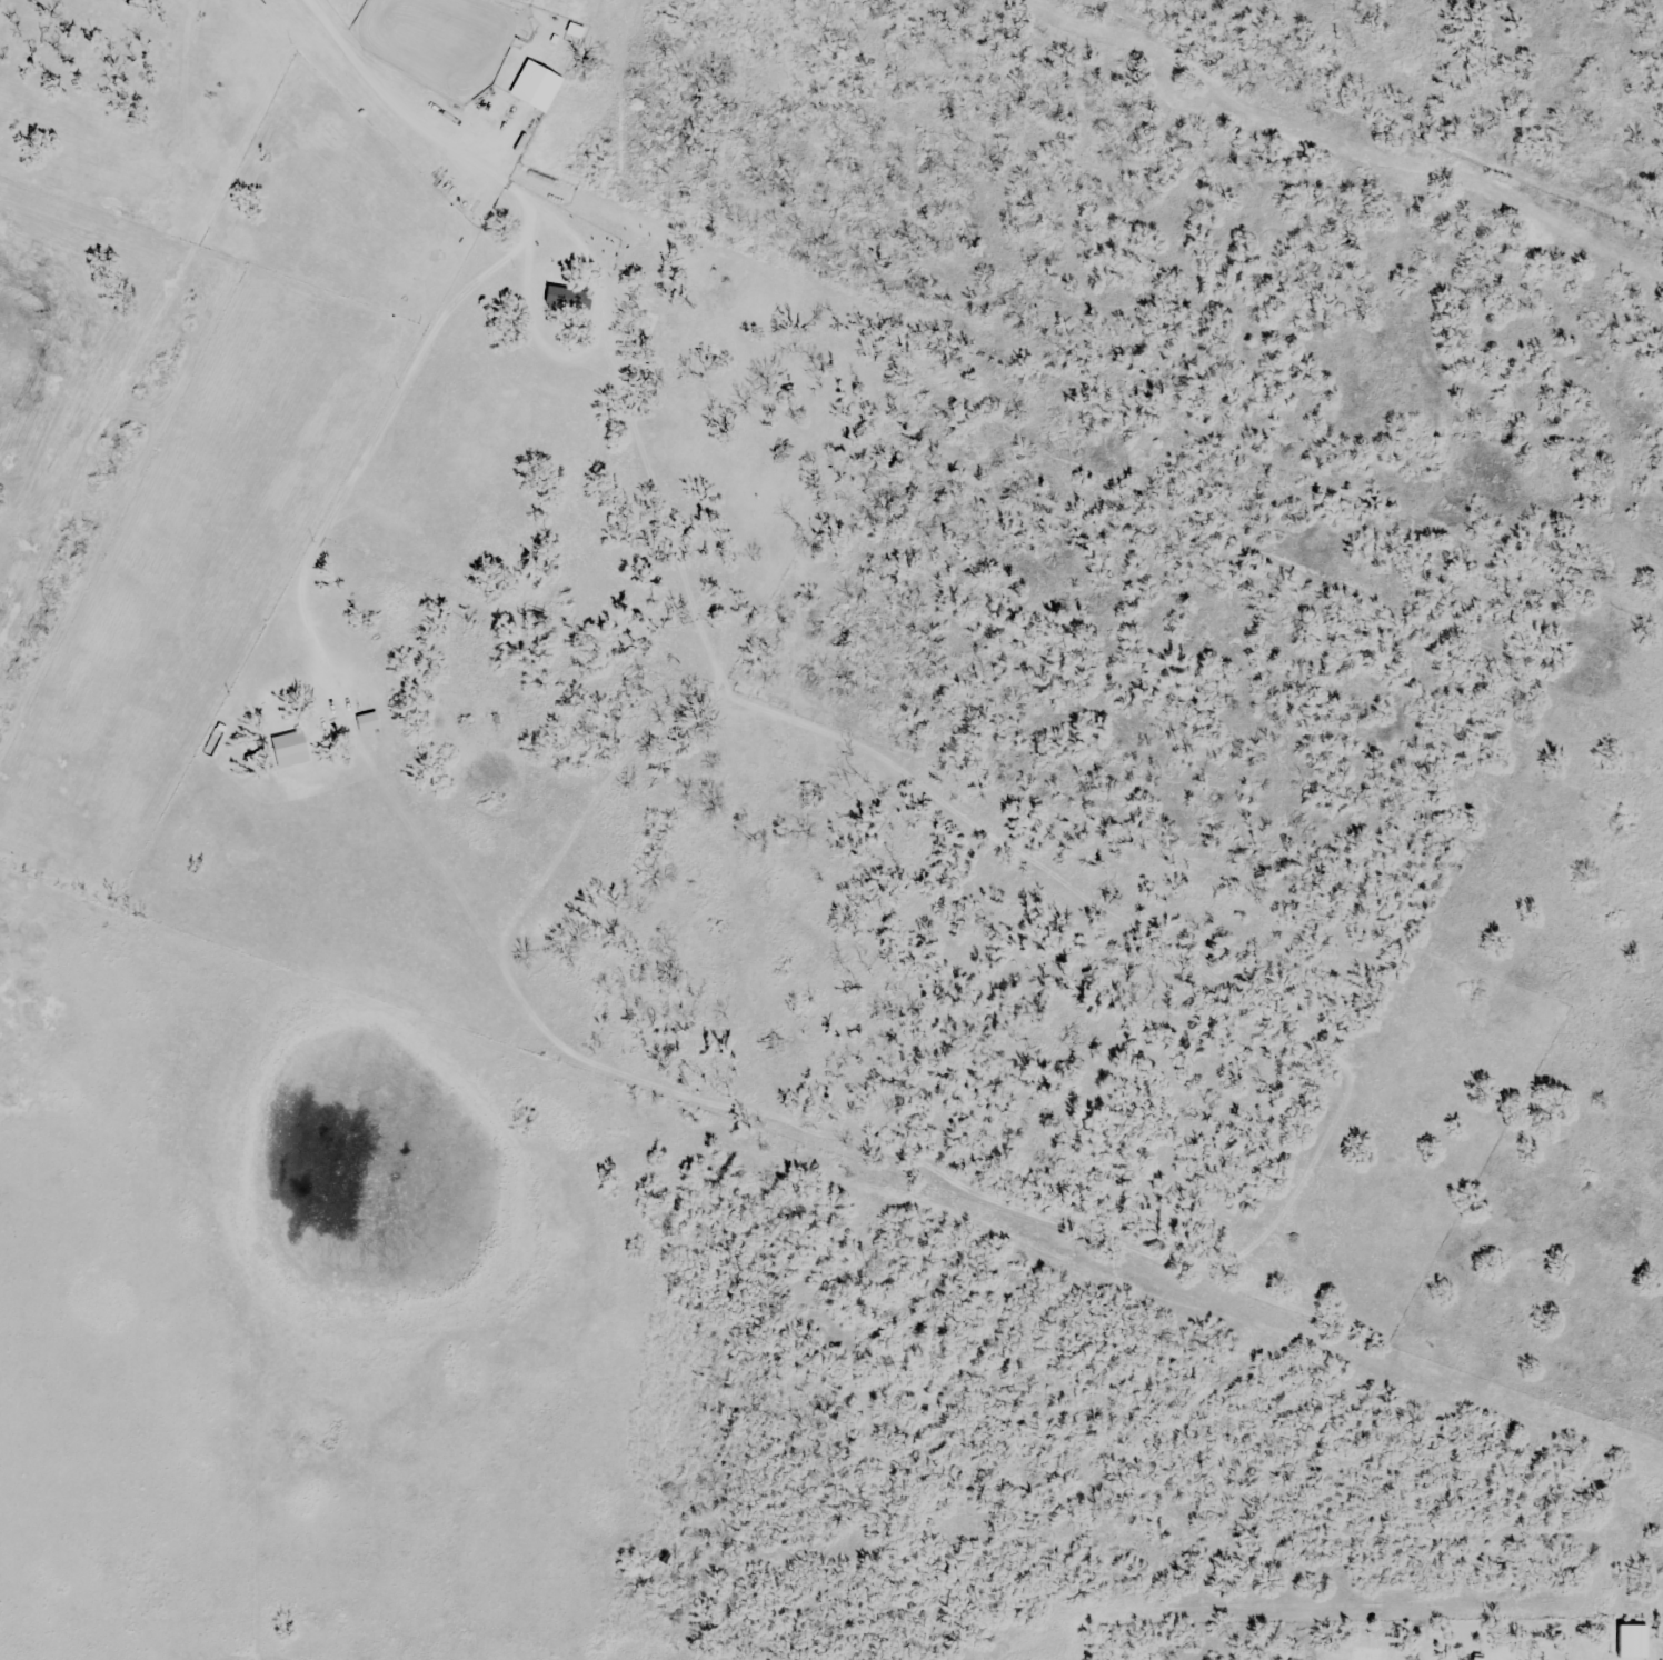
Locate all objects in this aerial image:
building: (539, 87)
road: (391, 102)
building: (621, 291)
building: (368, 722)
building: (292, 749)
building: (1471, 1656)

